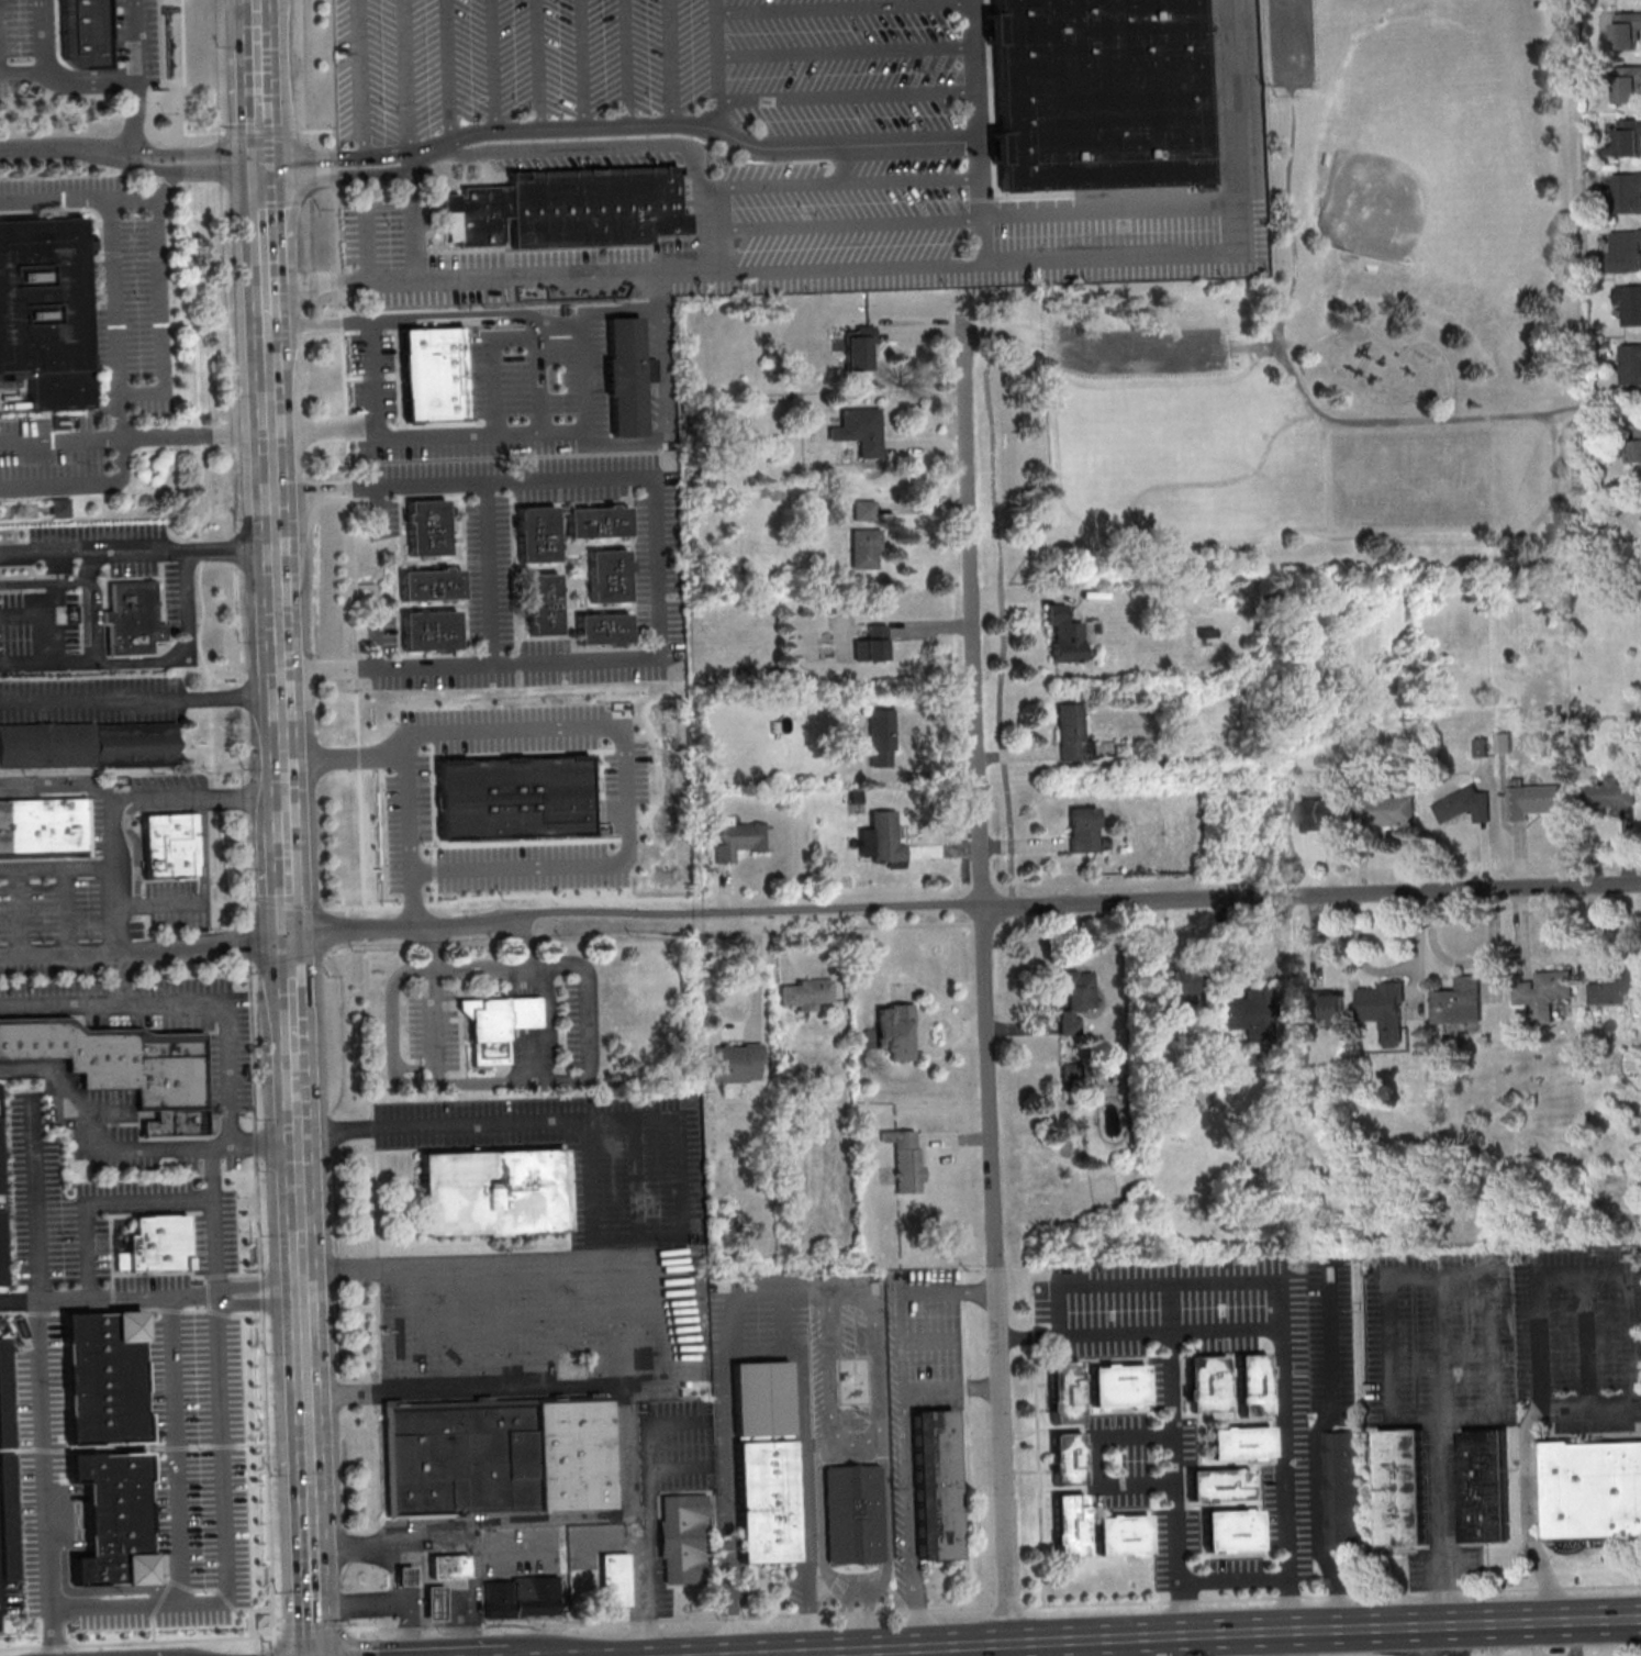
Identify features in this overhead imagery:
building: (82, 5)
road: (846, 7)
road: (257, 20)
building: (1625, 30)
building: (85, 31)
parking lot: (136, 36)
road: (1293, 43)
parking lot: (1293, 46)
road: (847, 49)
parking lot: (43, 54)
road: (669, 60)
road: (628, 62)
road: (540, 63)
road: (582, 63)
road: (493, 64)
road: (719, 66)
road: (450, 70)
road: (137, 76)
road: (68, 78)
road: (364, 80)
road: (408, 80)
building: (1627, 84)
building: (1098, 92)
road: (849, 97)
road: (260, 103)
road: (1230, 123)
building: (1629, 136)
road: (446, 144)
road: (781, 145)
road: (627, 147)
parking lot: (791, 147)
road: (64, 148)
road: (425, 153)
road: (201, 155)
road: (387, 159)
road: (410, 159)
road: (315, 164)
road: (845, 164)
traffic signals: (264, 168)
road: (193, 171)
road: (334, 175)
road: (841, 182)
park: (1413, 185)
road: (264, 191)
building: (1627, 192)
road: (79, 199)
road: (983, 199)
building: (561, 209)
road: (844, 224)
road: (266, 242)
building: (1626, 249)
road: (767, 266)
road: (342, 281)
parking lot: (124, 285)
road: (268, 291)
road: (116, 296)
building: (1629, 303)
building: (45, 308)
road: (537, 316)
road: (161, 322)
park: (1340, 331)
building: (859, 347)
road: (1271, 347)
parking lot: (1137, 353)
road: (1097, 355)
road: (1049, 363)
building: (1630, 363)
building: (436, 373)
building: (628, 375)
road: (375, 377)
road: (271, 403)
road: (1314, 409)
road: (665, 414)
road: (1453, 414)
building: (467, 425)
building: (863, 429)
road: (535, 433)
road: (136, 438)
building: (1634, 445)
parking lot: (51, 455)
park: (1179, 459)
road: (1326, 478)
building: (58, 507)
building: (866, 510)
building: (599, 520)
building: (427, 525)
building: (536, 533)
road: (1173, 544)
road: (233, 547)
building: (866, 547)
road: (93, 549)
road: (657, 574)
building: (609, 575)
road: (490, 576)
building: (432, 582)
building: (1096, 593)
parking lot: (90, 597)
building: (544, 603)
building: (132, 618)
road: (1003, 618)
road: (280, 626)
road: (355, 627)
building: (604, 627)
building: (431, 629)
building: (1065, 634)
building: (1208, 635)
building: (873, 643)
road: (148, 663)
road: (141, 700)
building: (1074, 733)
building: (883, 735)
building: (1504, 742)
building: (88, 745)
road: (286, 777)
road: (626, 785)
road: (56, 789)
building: (1609, 793)
road: (197, 796)
building: (515, 796)
building: (1531, 800)
building: (1464, 805)
building: (1384, 811)
building: (1317, 813)
road: (287, 816)
building: (43, 825)
building: (1084, 829)
building: (888, 836)
building: (741, 837)
building: (169, 844)
road: (55, 866)
road: (290, 888)
road: (1314, 893)
road: (412, 900)
road: (158, 903)
road: (67, 908)
road: (764, 909)
road: (20, 910)
road: (522, 916)
road: (397, 929)
traffic signals: (292, 936)
road: (434, 943)
road: (126, 948)
road: (56, 951)
parking lot: (125, 962)
road: (760, 970)
road: (119, 975)
road: (531, 980)
building: (1179, 986)
building: (1617, 987)
road: (990, 989)
building: (805, 993)
building: (1543, 993)
building: (1073, 1000)
road: (186, 1001)
building: (1460, 1001)
road: (295, 1005)
building: (1326, 1009)
building: (1384, 1009)
building: (1251, 1011)
road: (532, 1012)
road: (437, 1021)
building: (498, 1024)
building: (896, 1030)
road: (533, 1055)
building: (736, 1063)
building: (121, 1066)
road: (531, 1081)
road: (299, 1096)
building: (63, 1110)
road: (646, 1120)
road: (267, 1142)
road: (90, 1149)
parking lot: (588, 1157)
building: (906, 1158)
road: (639, 1178)
building: (492, 1189)
road: (36, 1198)
road: (102, 1203)
road: (303, 1204)
road: (214, 1220)
building: (152, 1243)
road: (357, 1270)
road: (1438, 1275)
road: (1145, 1283)
road: (1537, 1290)
road: (846, 1291)
road: (261, 1292)
road: (761, 1292)
road: (803, 1292)
road: (906, 1294)
road: (18, 1301)
road: (1280, 1307)
road: (1061, 1310)
parking lot: (550, 1319)
road: (409, 1331)
road: (1118, 1335)
road: (1034, 1337)
road: (1586, 1338)
road: (38, 1365)
building: (109, 1376)
building: (1209, 1382)
building: (1119, 1383)
building: (1255, 1383)
road: (309, 1386)
building: (1067, 1390)
road: (626, 1418)
road: (1038, 1437)
road: (968, 1438)
building: (1242, 1442)
building: (1558, 1442)
road: (178, 1451)
road: (1319, 1451)
road: (1442, 1452)
building: (500, 1456)
building: (1069, 1457)
building: (767, 1461)
road: (1097, 1464)
road: (266, 1469)
road: (908, 1469)
road: (1287, 1481)
building: (938, 1483)
building: (1221, 1483)
building: (1484, 1483)
road: (1177, 1486)
building: (1405, 1486)
building: (1343, 1487)
building: (1593, 1489)
road: (312, 1499)
road: (650, 1509)
building: (856, 1513)
building: (116, 1515)
building: (1071, 1524)
building: (1233, 1530)
road: (224, 1534)
building: (1124, 1534)
building: (686, 1537)
road: (427, 1544)
building: (447, 1566)
road: (416, 1575)
building: (405, 1576)
building: (616, 1580)
road: (1237, 1580)
road: (313, 1587)
road: (462, 1593)
building: (523, 1597)
road: (0, 1599)
road: (388, 1602)
building: (435, 1602)
road: (993, 1607)
road: (312, 1632)
road: (49, 1633)
road: (138, 1638)
road: (1203, 1638)
road: (357, 1642)
road: (273, 1651)
road: (848, 1654)

